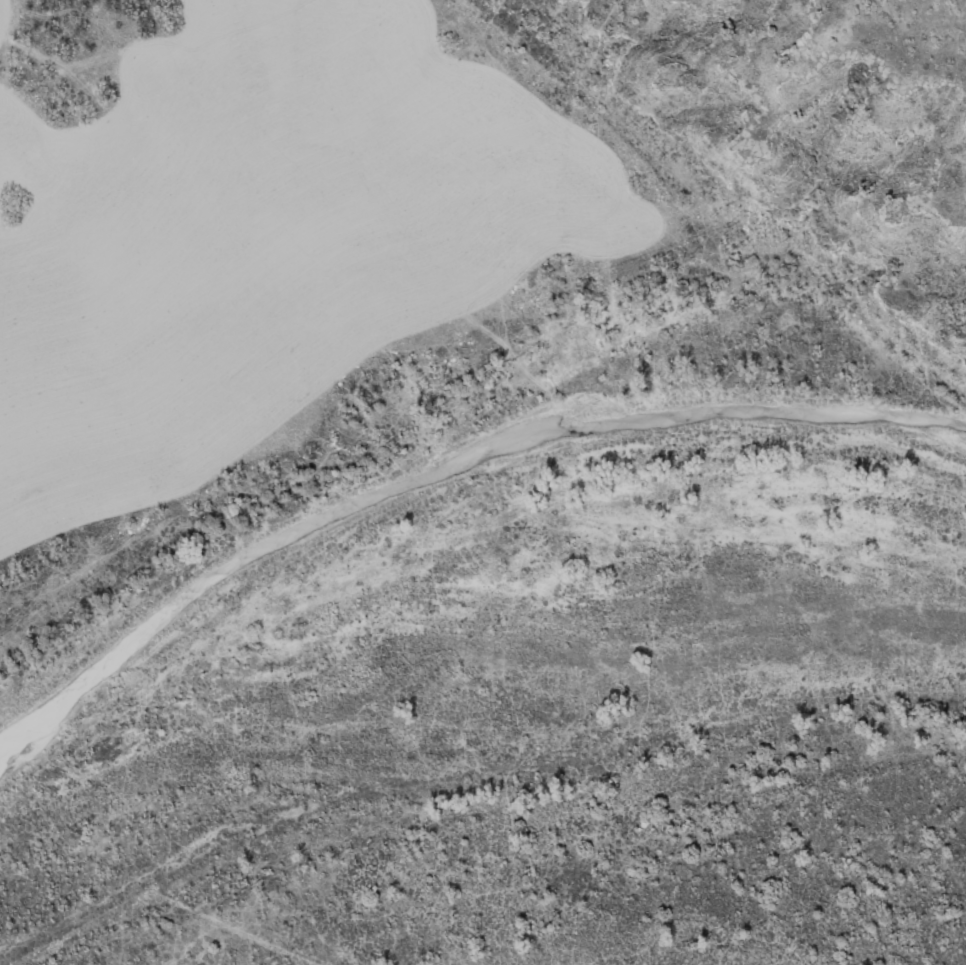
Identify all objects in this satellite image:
building: (525, 302)
road: (964, 963)

